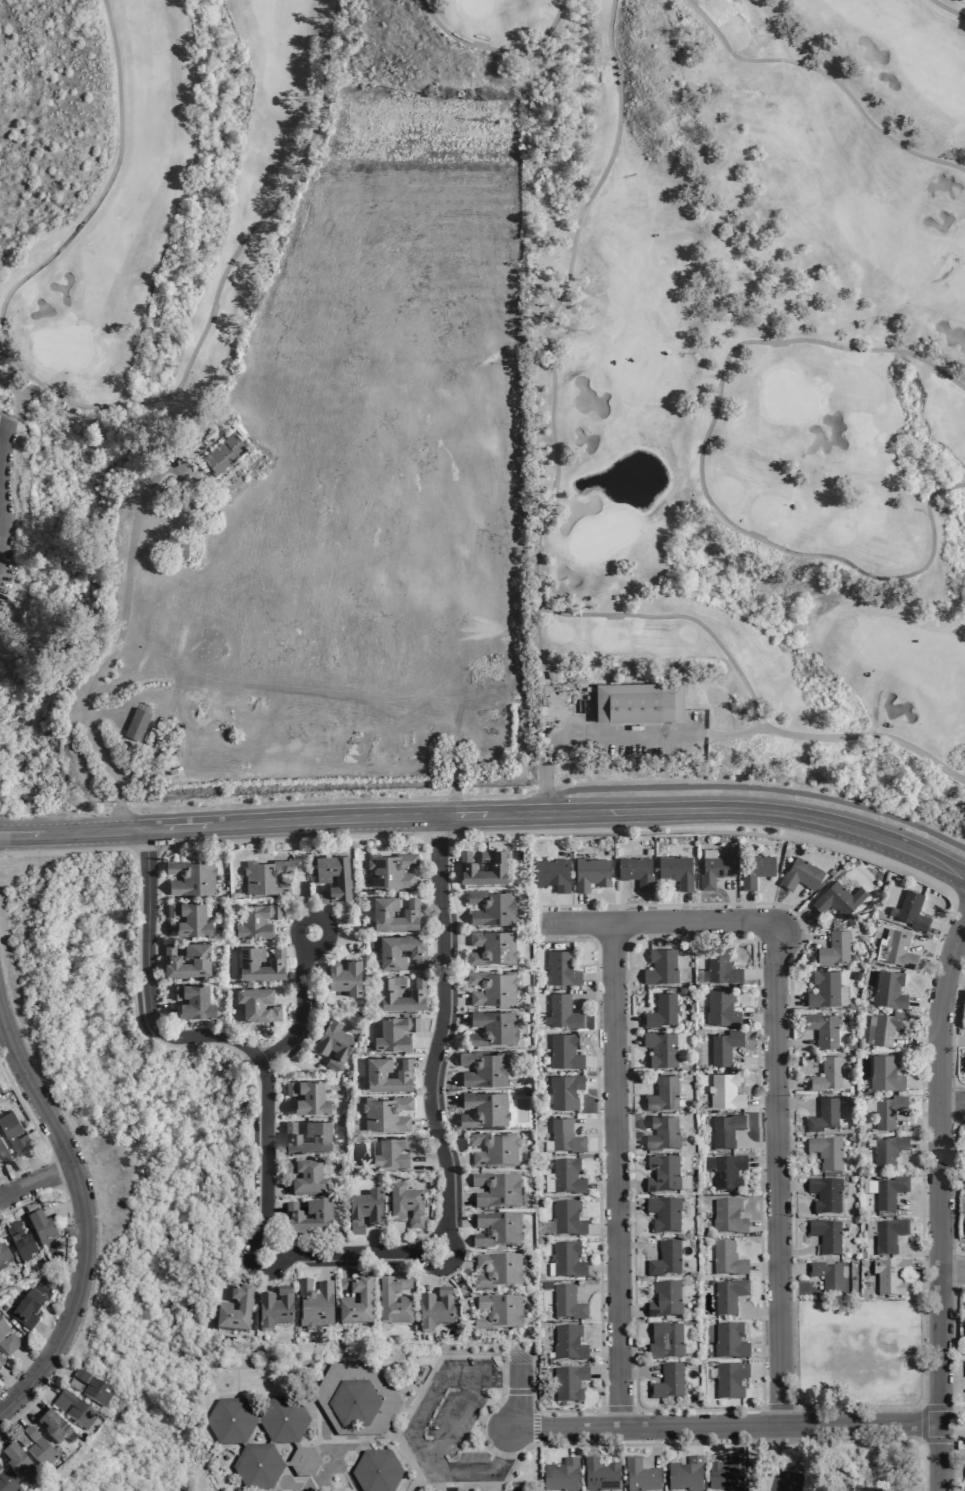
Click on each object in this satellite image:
road: (947, 9)
road: (676, 45)
road: (500, 48)
road: (831, 73)
road: (20, 400)
park: (500, 407)
road: (104, 409)
road: (4, 415)
road: (11, 419)
road: (3, 427)
building: (224, 454)
road: (700, 474)
road: (1, 482)
road: (542, 540)
building: (180, 546)
building: (640, 703)
road: (564, 712)
building: (137, 724)
road: (616, 735)
road: (760, 789)
road: (488, 817)
road: (437, 834)
road: (291, 840)
road: (146, 851)
road: (457, 857)
building: (495, 866)
building: (391, 870)
building: (755, 870)
building: (677, 871)
building: (715, 871)
building: (637, 872)
building: (591, 873)
building: (553, 874)
building: (801, 875)
building: (191, 877)
building: (267, 877)
building: (323, 878)
road: (428, 878)
road: (157, 888)
road: (958, 891)
road: (731, 897)
road: (953, 897)
building: (839, 899)
road: (621, 900)
road: (304, 901)
road: (324, 903)
road: (420, 903)
road: (785, 904)
building: (493, 907)
road: (748, 907)
road: (686, 908)
road: (564, 909)
road: (583, 909)
building: (913, 911)
building: (382, 913)
road: (454, 918)
building: (190, 919)
building: (257, 921)
road: (795, 921)
road: (665, 922)
road: (543, 923)
road: (546, 923)
road: (158, 928)
road: (286, 930)
road: (944, 930)
road: (801, 938)
road: (327, 939)
road: (455, 939)
road: (346, 940)
road: (931, 944)
building: (493, 948)
building: (834, 948)
building: (896, 949)
road: (154, 951)
road: (287, 952)
road: (959, 952)
building: (389, 953)
building: (201, 960)
road: (309, 962)
road: (426, 963)
building: (260, 964)
building: (662, 967)
building: (722, 967)
building: (562, 969)
road: (759, 974)
road: (626, 976)
building: (346, 977)
road: (956, 977)
road: (598, 978)
road: (426, 982)
building: (492, 987)
road: (148, 988)
building: (825, 989)
building: (889, 990)
building: (388, 993)
road: (290, 994)
road: (594, 994)
road: (455, 998)
road: (789, 999)
building: (193, 1001)
road: (926, 1003)
building: (258, 1004)
building: (721, 1009)
road: (162, 1010)
building: (564, 1011)
building: (662, 1011)
road: (302, 1014)
road: (759, 1017)
road: (455, 1018)
road: (626, 1021)
road: (138, 1023)
road: (313, 1025)
building: (888, 1027)
building: (493, 1028)
building: (823, 1029)
road: (955, 1030)
road: (424, 1031)
building: (395, 1033)
road: (3, 1036)
road: (425, 1040)
road: (626, 1041)
road: (952, 1041)
road: (916, 1042)
building: (334, 1043)
road: (795, 1043)
building: (725, 1047)
building: (661, 1048)
building: (564, 1052)
road: (7, 1056)
road: (600, 1061)
road: (753, 1061)
road: (413, 1064)
road: (306, 1066)
building: (484, 1069)
building: (964, 1070)
road: (268, 1071)
building: (885, 1073)
building: (376, 1074)
building: (827, 1074)
road: (443, 1078)
road: (635, 1079)
road: (601, 1082)
road: (790, 1083)
road: (923, 1083)
building: (0, 1090)
building: (565, 1091)
building: (725, 1091)
building: (663, 1093)
building: (309, 1097)
road: (761, 1099)
road: (443, 1100)
road: (952, 1103)
road: (796, 1104)
road: (278, 1107)
road: (922, 1108)
building: (485, 1109)
building: (888, 1111)
building: (387, 1113)
building: (824, 1115)
road: (423, 1123)
road: (592, 1124)
road: (916, 1124)
road: (284, 1128)
building: (726, 1130)
road: (36, 1132)
building: (14, 1133)
building: (663, 1134)
building: (565, 1137)
building: (322, 1138)
road: (753, 1144)
road: (924, 1144)
road: (789, 1145)
road: (628, 1146)
building: (494, 1149)
building: (3, 1151)
park: (129, 1151)
building: (826, 1152)
building: (888, 1152)
building: (393, 1154)
road: (455, 1160)
road: (427, 1161)
road: (762, 1161)
road: (34, 1165)
building: (728, 1173)
building: (662, 1174)
road: (615, 1175)
road: (9, 1176)
building: (566, 1176)
road: (776, 1178)
road: (35, 1179)
building: (307, 1179)
road: (601, 1186)
road: (789, 1186)
road: (956, 1186)
road: (276, 1189)
building: (497, 1189)
building: (889, 1192)
building: (825, 1195)
road: (459, 1200)
road: (939, 1203)
road: (447, 1205)
road: (629, 1205)
building: (406, 1207)
road: (64, 1208)
road: (283, 1209)
road: (916, 1210)
road: (599, 1211)
building: (365, 1212)
road: (4, 1213)
building: (664, 1214)
building: (728, 1216)
road: (83, 1217)
building: (322, 1218)
building: (567, 1218)
road: (458, 1219)
road: (763, 1226)
building: (40, 1228)
road: (602, 1228)
building: (498, 1230)
road: (252, 1236)
building: (825, 1236)
building: (889, 1236)
road: (397, 1238)
road: (374, 1239)
building: (20, 1242)
road: (636, 1245)
road: (799, 1251)
road: (916, 1253)
building: (4, 1257)
building: (727, 1259)
building: (567, 1260)
building: (665, 1260)
road: (462, 1261)
road: (420, 1262)
road: (449, 1262)
road: (64, 1265)
road: (284, 1265)
road: (325, 1265)
road: (352, 1266)
road: (252, 1267)
road: (764, 1267)
road: (925, 1267)
road: (603, 1269)
road: (790, 1270)
road: (955, 1270)
building: (498, 1271)
road: (952, 1271)
road: (405, 1273)
road: (345, 1274)
building: (826, 1276)
building: (890, 1276)
road: (232, 1278)
road: (429, 1278)
road: (266, 1281)
road: (459, 1286)
road: (595, 1287)
building: (729, 1296)
building: (665, 1301)
building: (385, 1302)
building: (567, 1303)
building: (315, 1304)
building: (358, 1305)
building: (224, 1308)
building: (28, 1310)
road: (630, 1310)
building: (273, 1312)
road: (755, 1312)
building: (499, 1313)
building: (434, 1314)
road: (47, 1333)
building: (7, 1340)
building: (665, 1341)
building: (730, 1341)
building: (568, 1343)
road: (604, 1350)
road: (765, 1351)
road: (28, 1364)
road: (57, 1368)
road: (604, 1368)
road: (637, 1372)
road: (765, 1372)
building: (730, 1381)
building: (668, 1382)
road: (9, 1383)
building: (570, 1384)
building: (74, 1385)
road: (954, 1386)
road: (42, 1388)
building: (94, 1389)
road: (952, 1390)
road: (517, 1391)
road: (519, 1391)
building: (356, 1399)
road: (762, 1400)
road: (30, 1402)
park: (851, 1402)
road: (32, 1403)
road: (921, 1405)
road: (780, 1407)
road: (618, 1408)
road: (0, 1409)
building: (75, 1410)
road: (952, 1413)
road: (11, 1418)
road: (452, 1419)
road: (922, 1423)
parking lot: (450, 1424)
road: (728, 1425)
building: (53, 1426)
road: (535, 1427)
road: (514, 1428)
road: (414, 1436)
road: (694, 1439)
road: (735, 1439)
road: (569, 1440)
road: (590, 1440)
building: (22, 1441)
road: (921, 1441)
road: (1, 1442)
road: (399, 1442)
building: (232, 1443)
road: (649, 1444)
road: (656, 1447)
building: (39, 1450)
road: (952, 1452)
road: (823, 1459)
building: (15, 1461)
road: (893, 1461)
building: (376, 1471)
building: (726, 1474)
building: (685, 1475)
building: (561, 1476)
building: (600, 1476)
building: (640, 1476)
building: (7, 1483)

